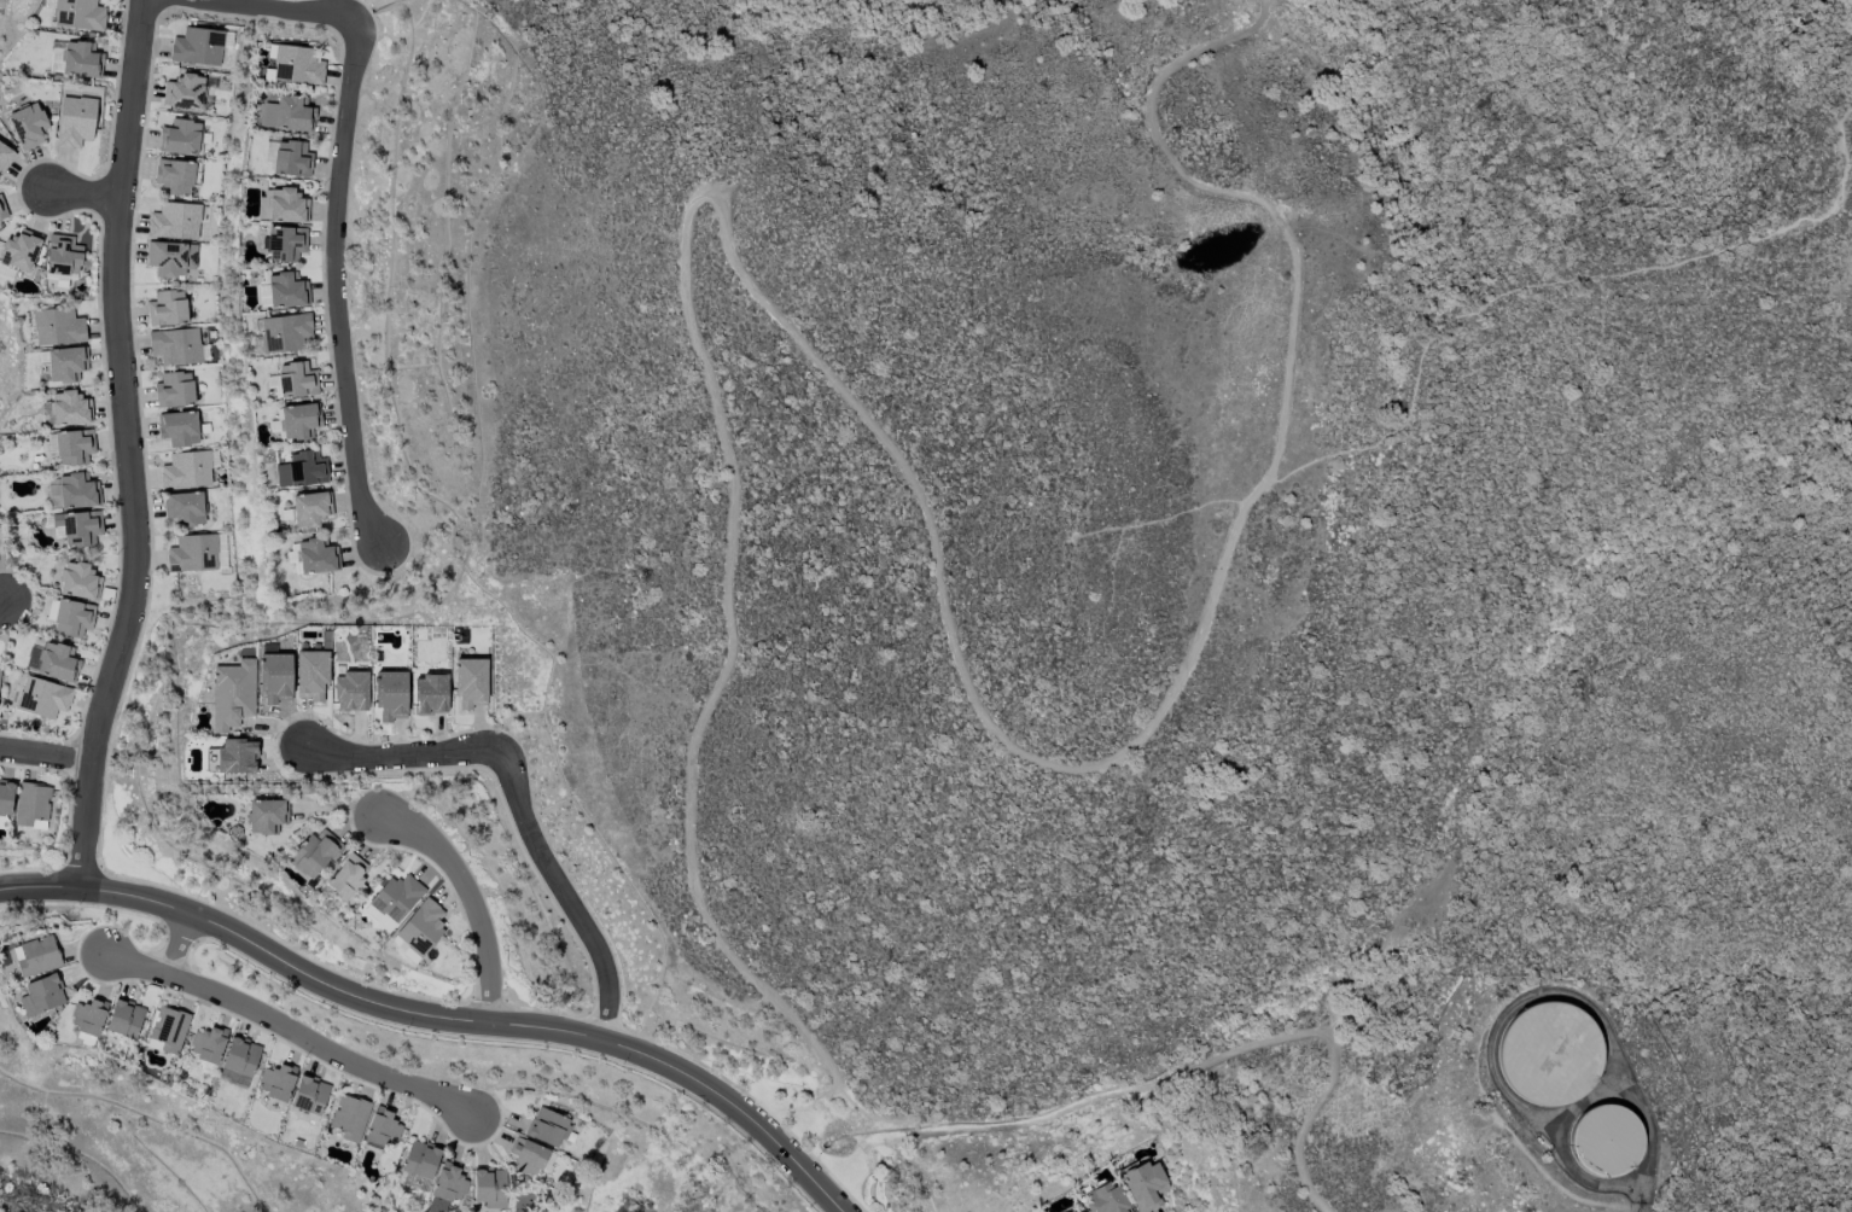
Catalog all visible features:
building: (78, 14)
road: (398, 34)
building: (199, 46)
building: (81, 60)
building: (292, 64)
building: (184, 93)
building: (287, 113)
building: (75, 121)
building: (28, 126)
building: (182, 138)
building: (5, 157)
building: (287, 158)
building: (175, 176)
road: (83, 196)
road: (336, 198)
road: (720, 204)
building: (283, 206)
building: (2, 209)
building: (175, 221)
building: (285, 243)
building: (18, 254)
building: (171, 258)
building: (62, 260)
building: (281, 291)
building: (167, 308)
road: (1463, 313)
building: (57, 326)
building: (285, 332)
building: (177, 346)
building: (66, 363)
building: (293, 380)
building: (174, 390)
building: (70, 408)
building: (295, 423)
building: (180, 427)
building: (70, 445)
road: (126, 448)
building: (188, 470)
building: (302, 470)
building: (77, 491)
building: (185, 507)
building: (308, 509)
building: (78, 526)
building: (198, 553)
building: (314, 555)
building: (78, 582)
road: (1, 599)
building: (72, 618)
building: (53, 662)
building: (311, 675)
building: (276, 677)
building: (471, 682)
building: (350, 692)
building: (233, 694)
building: (431, 694)
building: (391, 695)
building: (43, 698)
road: (46, 754)
road: (396, 754)
building: (233, 757)
building: (5, 796)
building: (31, 805)
building: (266, 816)
building: (315, 853)
building: (348, 878)
road: (567, 891)
building: (396, 898)
road: (467, 902)
building: (418, 932)
road: (176, 948)
building: (35, 956)
building: (41, 995)
road: (438, 1019)
building: (88, 1020)
building: (123, 1020)
building: (168, 1030)
road: (292, 1032)
building: (208, 1044)
storage tank: (1550, 1053)
building: (1549, 1054)
building: (239, 1061)
building: (276, 1080)
building: (309, 1094)
park: (794, 1106)
road: (802, 1107)
building: (350, 1117)
building: (382, 1127)
building: (549, 1127)
building: (1606, 1140)
storage tank: (1603, 1143)
building: (530, 1156)
building: (420, 1160)
building: (447, 1185)
building: (1143, 1185)
building: (489, 1187)
building: (1103, 1199)
road: (1637, 1199)
building: (1070, 1211)
building: (1079, 1211)

